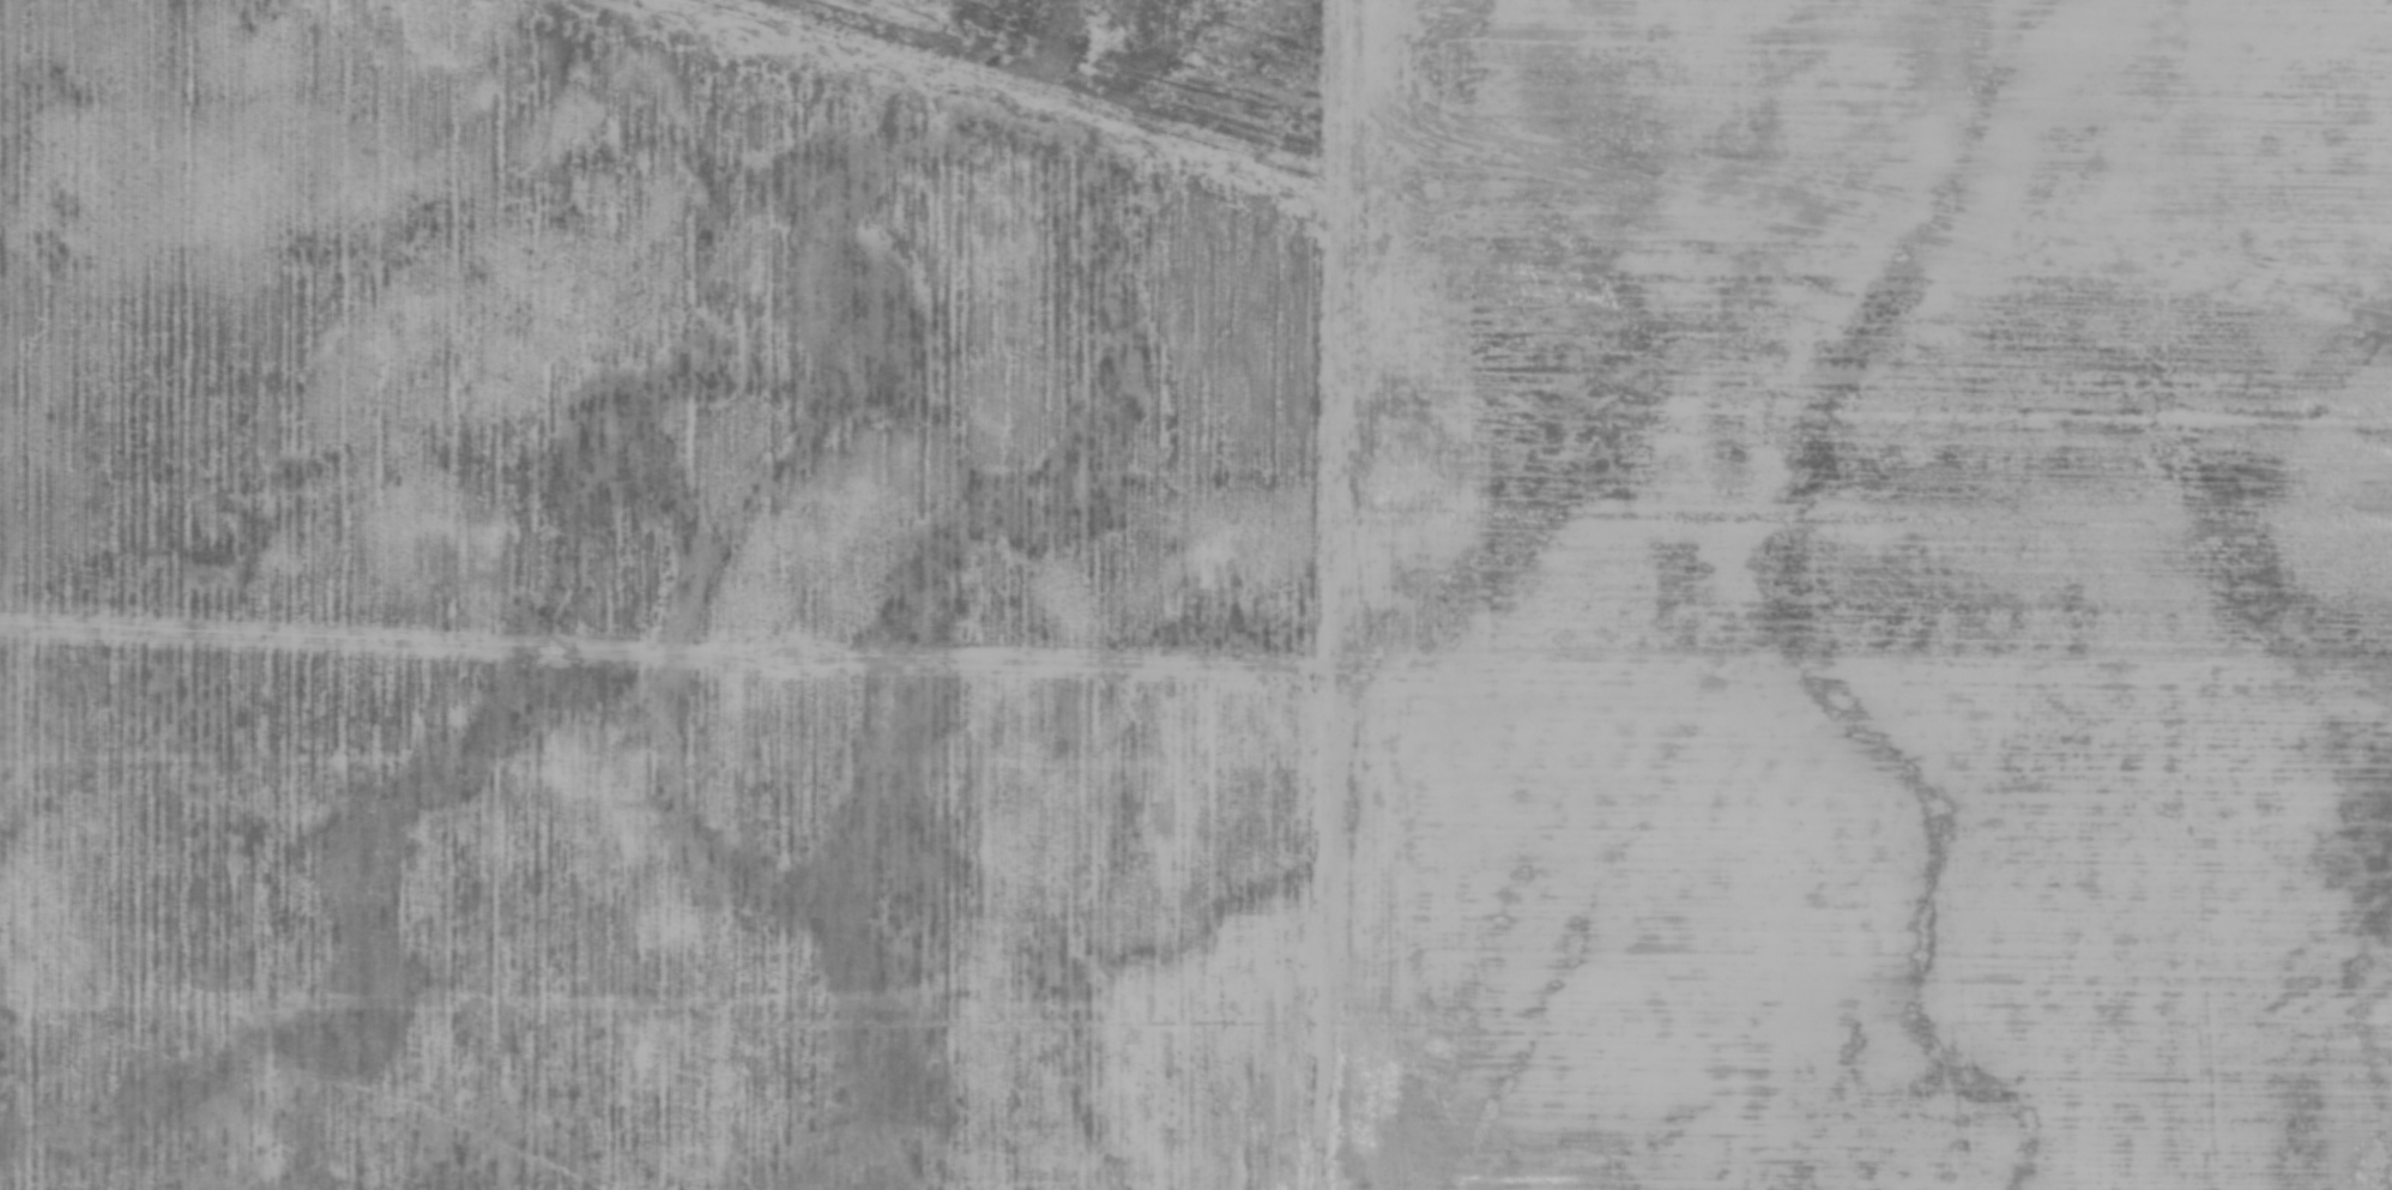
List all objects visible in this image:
building: (41, 824)

